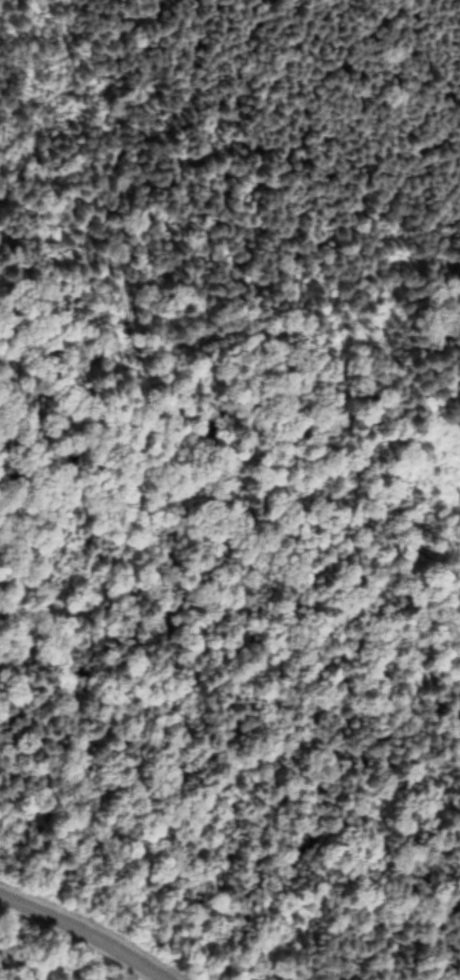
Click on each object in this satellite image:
road: (87, 928)

